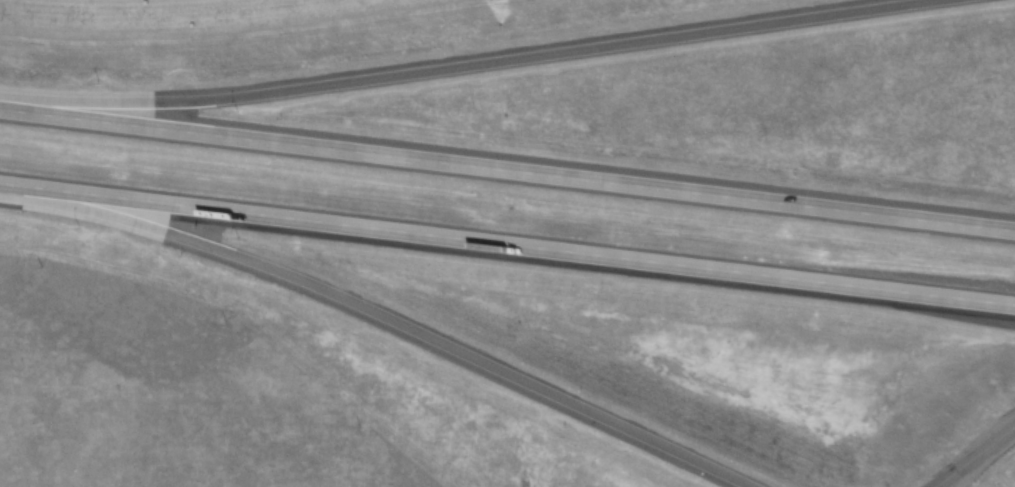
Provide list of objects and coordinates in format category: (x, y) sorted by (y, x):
road: (472, 64)
road: (507, 173)
road: (507, 246)
road: (380, 317)
road: (974, 455)

